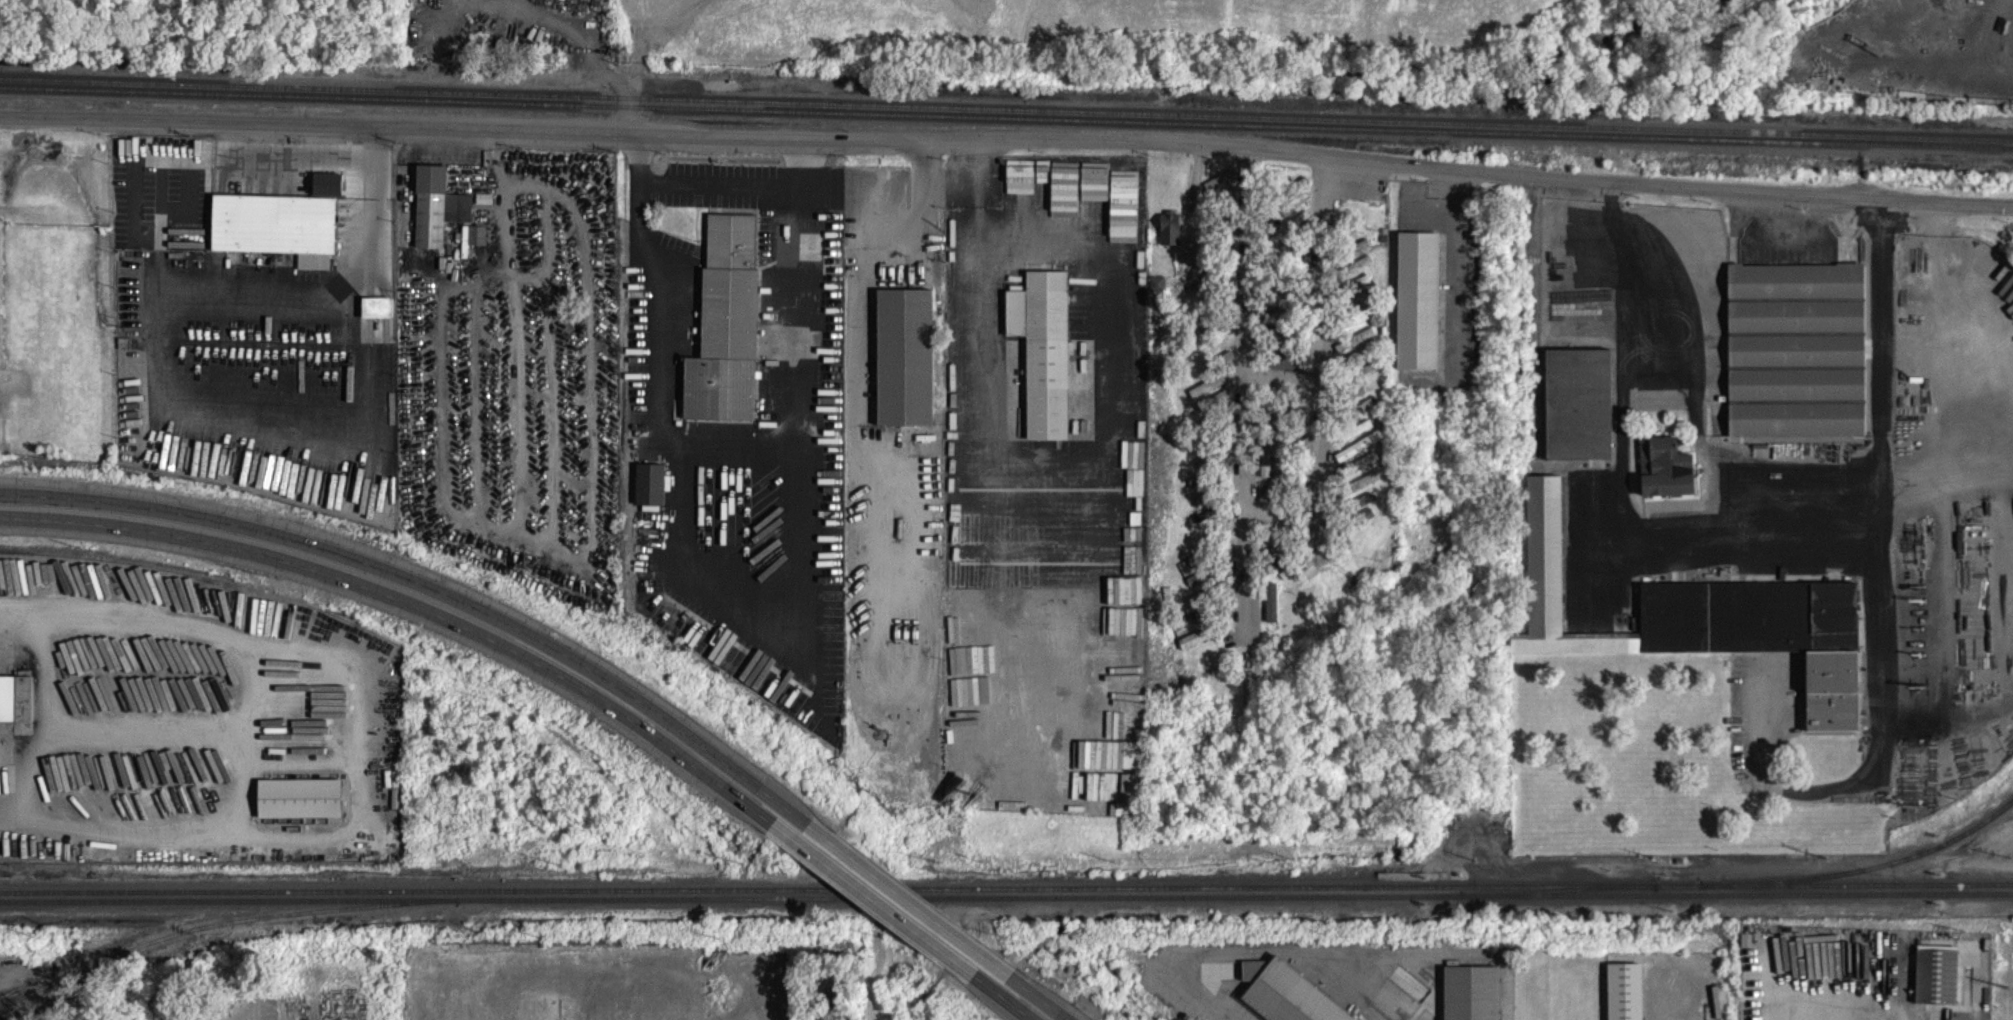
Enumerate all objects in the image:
railway: (1006, 116)
railway: (1006, 126)
road: (1007, 139)
road: (496, 173)
road: (721, 186)
building: (329, 192)
building: (438, 214)
building: (279, 234)
building: (1172, 237)
building: (475, 244)
building: (807, 254)
road: (977, 262)
road: (1461, 264)
road: (857, 271)
building: (1420, 308)
building: (379, 315)
building: (727, 333)
building: (1798, 358)
building: (1045, 359)
building: (906, 365)
road: (1322, 368)
road: (1245, 384)
building: (1580, 412)
building: (1267, 471)
building: (1667, 476)
building: (651, 492)
road: (1742, 545)
road: (444, 596)
building: (1273, 610)
road: (423, 611)
building: (1706, 626)
building: (17, 707)
building: (303, 807)
railway: (1881, 874)
railway: (1006, 886)
railway: (1559, 888)
railway: (1006, 894)
road: (911, 899)
road: (876, 904)
railway: (224, 931)
road: (1257, 949)
road: (1030, 989)
road: (994, 994)
building: (1627, 995)
building: (1474, 997)
building: (1283, 998)
road: (1818, 999)

